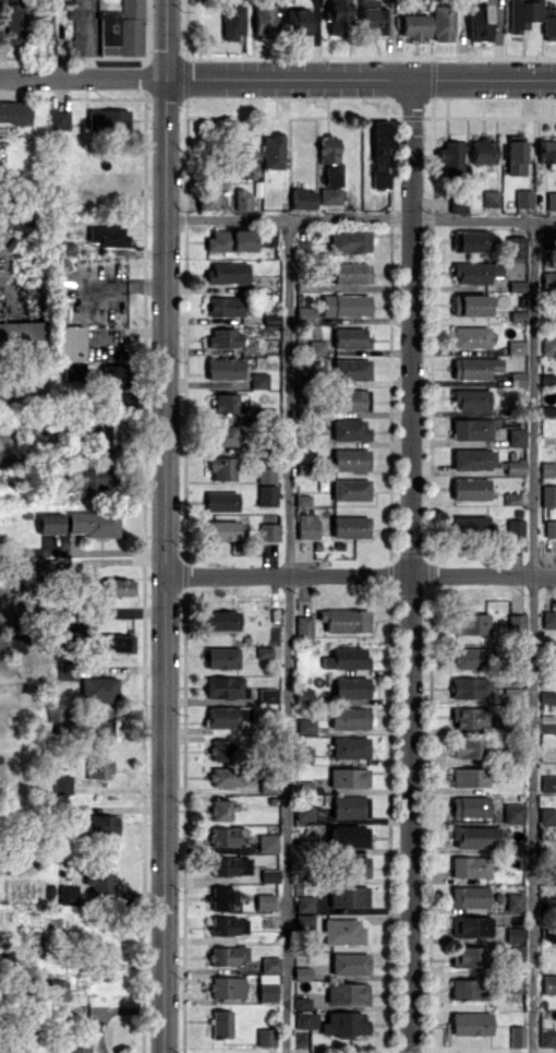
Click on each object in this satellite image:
building: (338, 16)
building: (264, 19)
building: (373, 19)
building: (232, 21)
building: (298, 21)
building: (442, 22)
building: (480, 22)
building: (548, 23)
building: (414, 25)
building: (122, 29)
road: (83, 77)
road: (361, 77)
building: (14, 111)
building: (108, 119)
building: (59, 120)
building: (328, 148)
building: (273, 151)
building: (483, 151)
building: (547, 151)
building: (379, 154)
building: (515, 154)
building: (452, 157)
building: (247, 161)
building: (330, 195)
building: (302, 198)
building: (491, 198)
building: (523, 198)
building: (211, 199)
building: (242, 199)
building: (551, 200)
road: (361, 218)
building: (108, 236)
building: (230, 240)
building: (266, 240)
building: (350, 240)
building: (470, 240)
building: (515, 247)
building: (227, 272)
building: (350, 272)
building: (475, 272)
building: (548, 278)
building: (470, 304)
building: (223, 306)
building: (342, 306)
building: (304, 314)
building: (22, 335)
building: (470, 336)
building: (350, 337)
building: (222, 338)
building: (69, 343)
building: (319, 345)
building: (548, 345)
building: (271, 346)
building: (516, 346)
building: (225, 368)
building: (474, 368)
building: (351, 369)
building: (82, 370)
building: (517, 379)
building: (258, 380)
building: (471, 398)
building: (352, 399)
building: (229, 402)
building: (471, 429)
building: (107, 430)
building: (349, 430)
building: (225, 435)
building: (516, 436)
building: (473, 458)
building: (350, 459)
building: (513, 466)
building: (221, 467)
building: (547, 468)
building: (265, 474)
building: (89, 477)
building: (350, 489)
building: (470, 489)
building: (266, 494)
building: (548, 495)
building: (511, 498)
building: (302, 500)
building: (220, 501)
building: (49, 523)
building: (92, 523)
building: (469, 524)
road: (165, 526)
building: (306, 526)
building: (350, 526)
building: (549, 527)
building: (515, 528)
building: (222, 530)
building: (268, 531)
road: (410, 564)
building: (47, 569)
road: (360, 575)
building: (120, 586)
building: (548, 619)
building: (221, 620)
building: (345, 620)
building: (470, 623)
building: (516, 623)
building: (303, 626)
road: (287, 635)
road: (533, 635)
building: (48, 637)
building: (116, 643)
building: (263, 651)
building: (221, 657)
building: (469, 657)
building: (346, 658)
building: (350, 686)
building: (225, 687)
building: (470, 687)
building: (98, 689)
building: (267, 694)
building: (511, 694)
building: (228, 716)
building: (348, 717)
building: (470, 717)
building: (546, 723)
building: (304, 725)
building: (97, 730)
building: (350, 746)
building: (466, 747)
building: (222, 750)
building: (303, 754)
building: (101, 770)
building: (348, 777)
building: (469, 777)
building: (548, 782)
building: (61, 783)
building: (349, 806)
building: (469, 806)
building: (221, 809)
building: (304, 811)
building: (513, 813)
building: (547, 814)
building: (93, 823)
building: (349, 836)
building: (476, 836)
building: (267, 842)
building: (229, 865)
building: (353, 866)
building: (470, 866)
building: (269, 875)
building: (99, 878)
building: (70, 894)
building: (348, 896)
building: (469, 896)
building: (222, 897)
building: (264, 901)
building: (513, 901)
building: (303, 902)
building: (304, 921)
building: (228, 925)
building: (469, 926)
building: (342, 931)
building: (517, 952)
building: (228, 955)
building: (467, 956)
building: (349, 962)
building: (269, 964)
building: (301, 972)
building: (512, 982)
building: (548, 983)
building: (226, 986)
building: (464, 989)
building: (56, 990)
building: (266, 990)
building: (347, 993)
building: (301, 1002)
building: (305, 1019)
building: (220, 1024)
building: (345, 1024)
building: (470, 1024)
building: (265, 1037)
building: (546, 1037)
building: (77, 1042)

